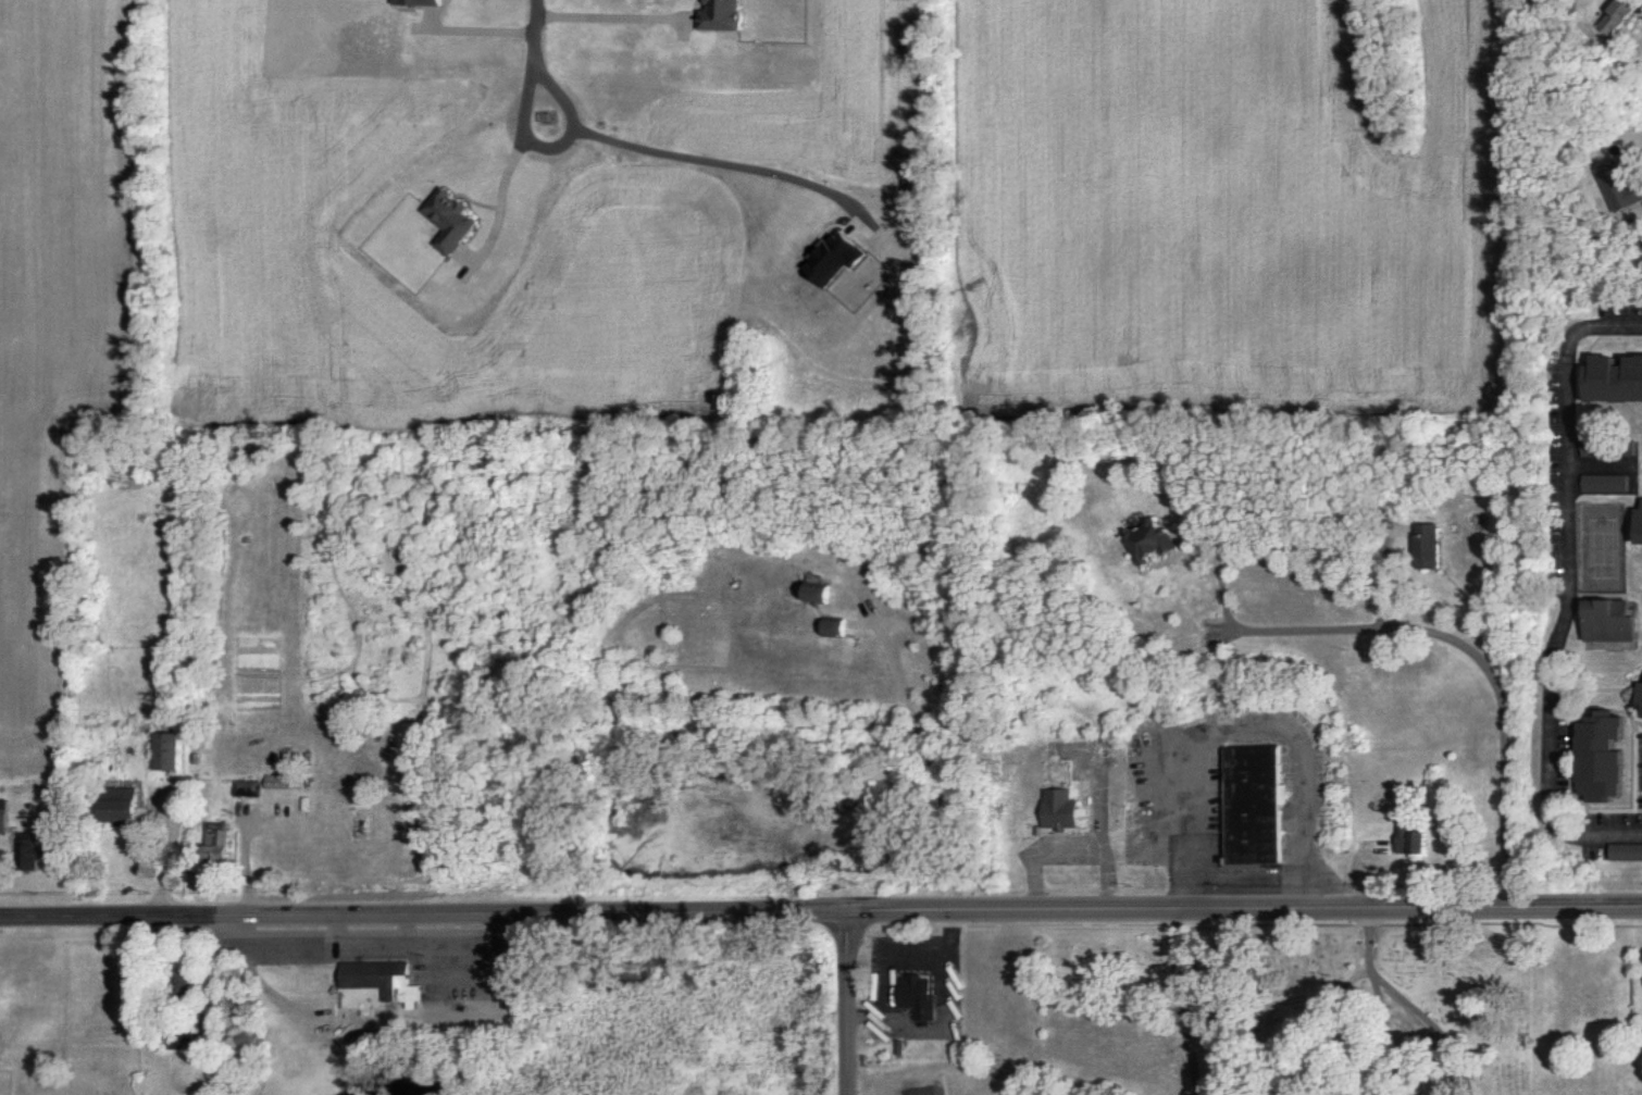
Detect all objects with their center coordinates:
road: (611, 15)
building: (721, 15)
building: (1622, 16)
road: (472, 29)
road: (533, 58)
road: (676, 155)
road: (509, 160)
building: (448, 220)
building: (1620, 381)
building: (1612, 445)
building: (1607, 482)
building: (1150, 540)
building: (1428, 545)
park: (1604, 552)
road: (1382, 575)
building: (813, 593)
road: (1570, 596)
building: (1614, 623)
building: (831, 627)
road: (1426, 636)
building: (1641, 698)
road: (1255, 726)
building: (165, 749)
building: (1603, 761)
road: (920, 770)
building: (281, 780)
building: (248, 786)
building: (120, 804)
building: (1252, 804)
building: (1059, 808)
building: (2, 814)
building: (1410, 836)
building: (219, 844)
building: (41, 850)
building: (1625, 850)
road: (821, 910)
road: (921, 959)
road: (949, 967)
building: (382, 978)
building: (181, 982)
building: (916, 994)
road: (1177, 1001)
road: (853, 1003)
park: (1301, 1009)
building: (183, 1035)

